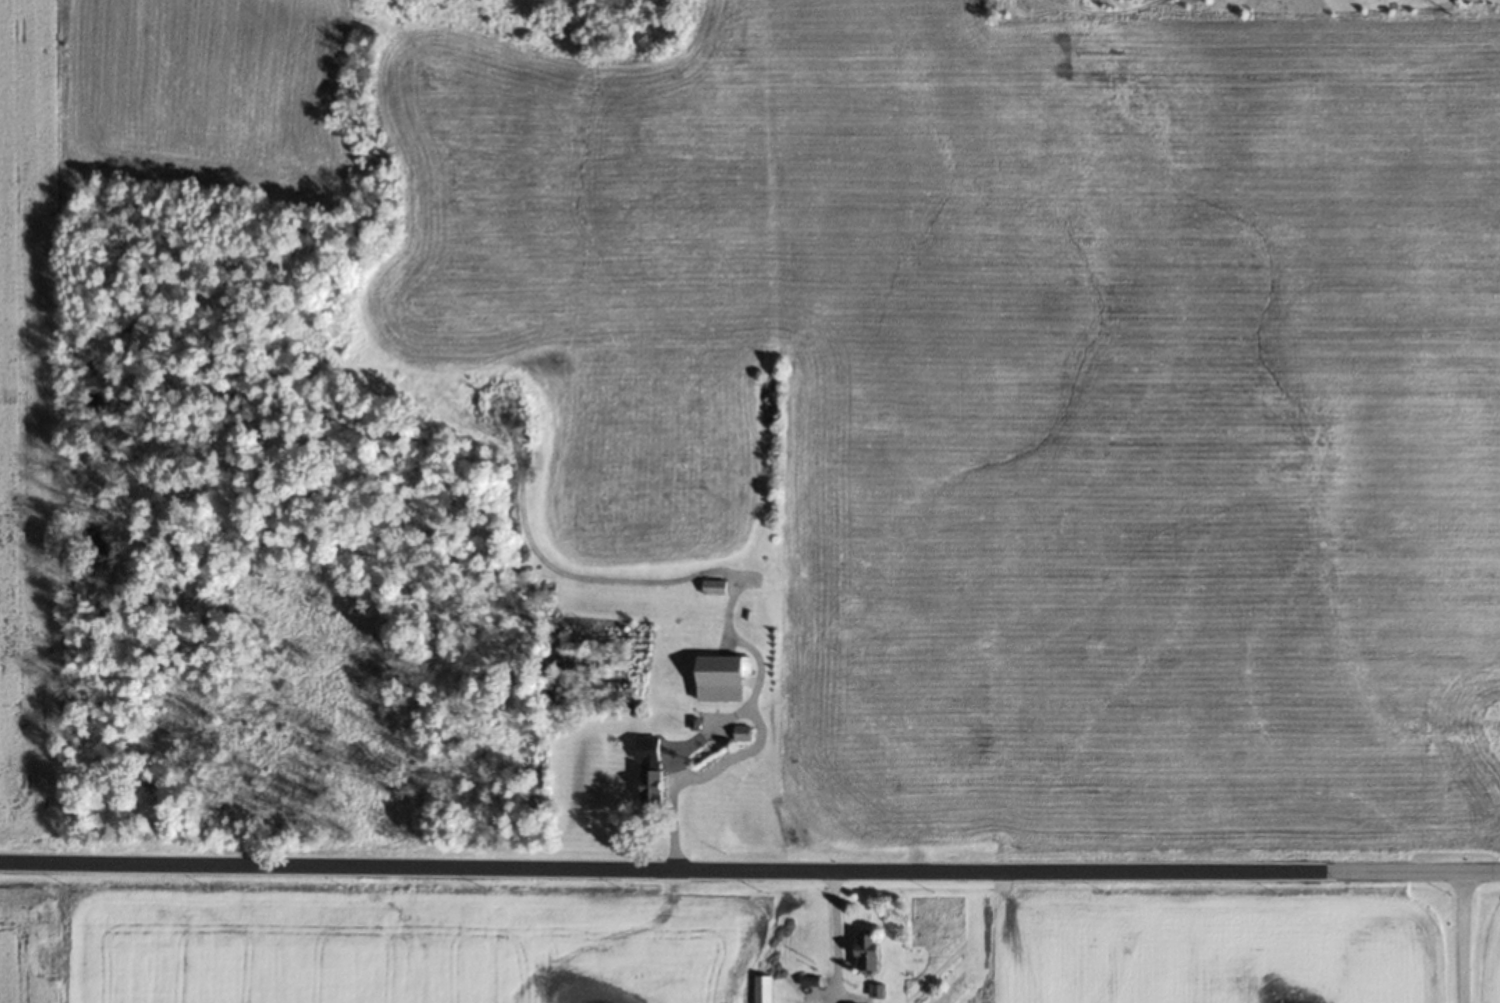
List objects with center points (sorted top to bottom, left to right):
crop: (1012, 393)
building: (713, 585)
building: (719, 676)
building: (740, 731)
building: (649, 784)
road: (749, 871)
road: (1464, 938)
building: (865, 954)
building: (807, 980)
building: (761, 988)
building: (874, 990)

